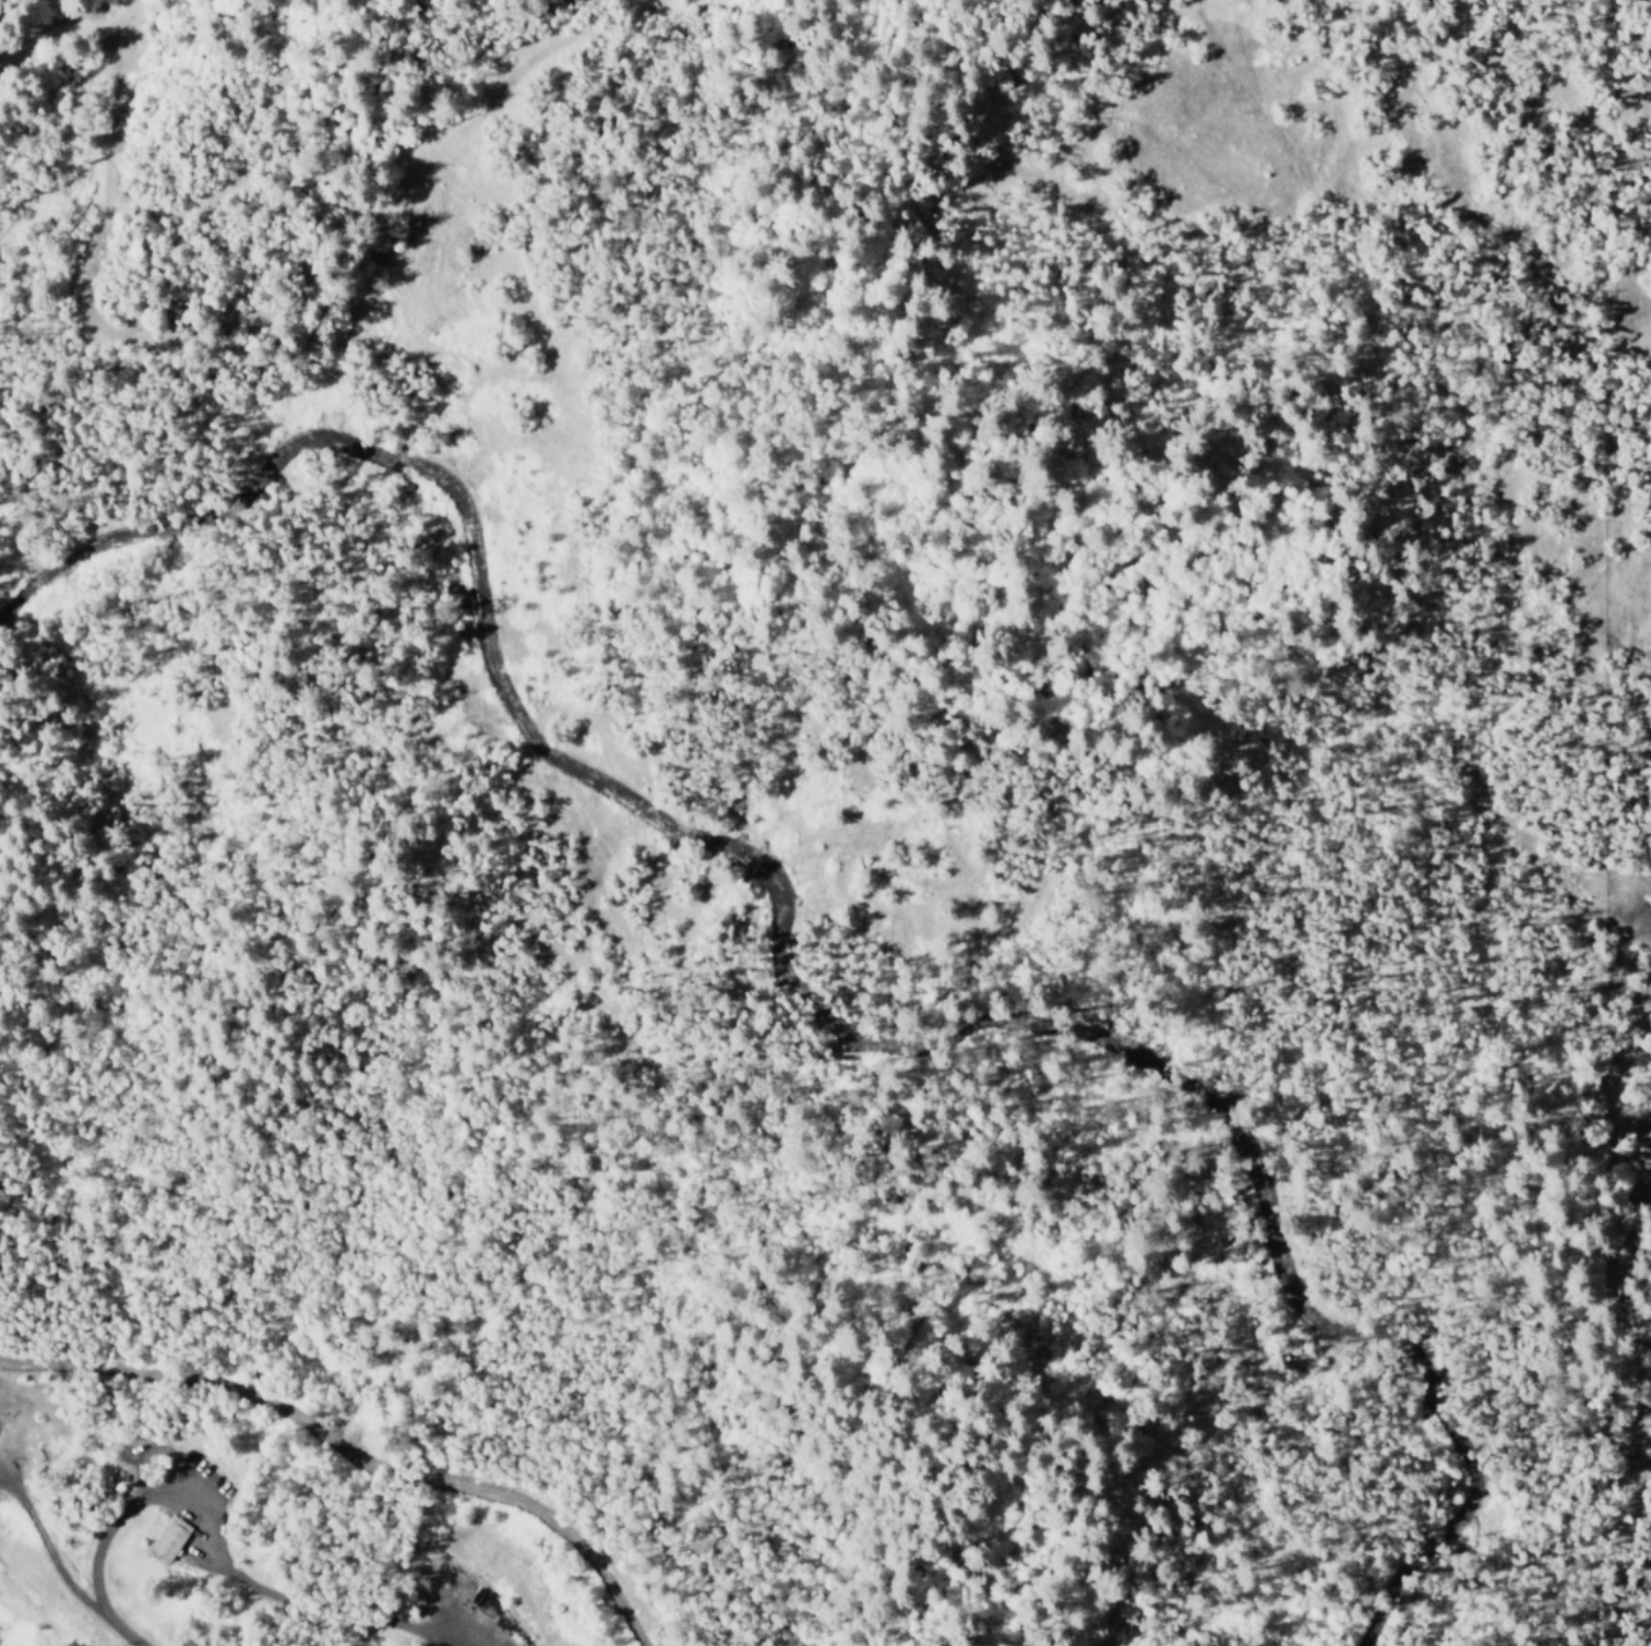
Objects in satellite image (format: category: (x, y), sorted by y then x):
landfill: (276, 1526)
building: (170, 1538)

